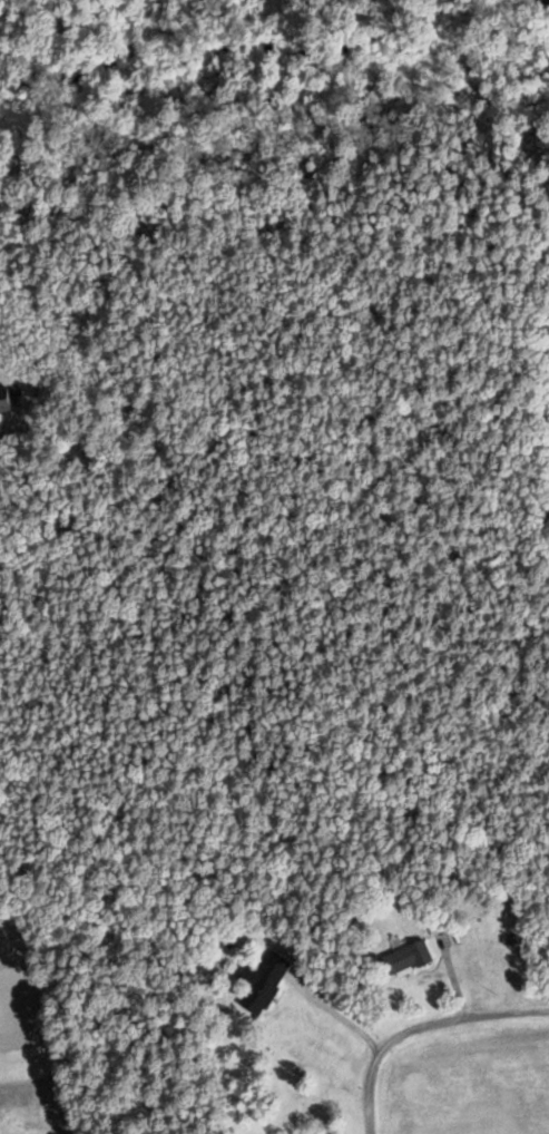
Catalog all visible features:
building: (9, 399)
building: (414, 956)
building: (265, 979)
road: (412, 1016)

